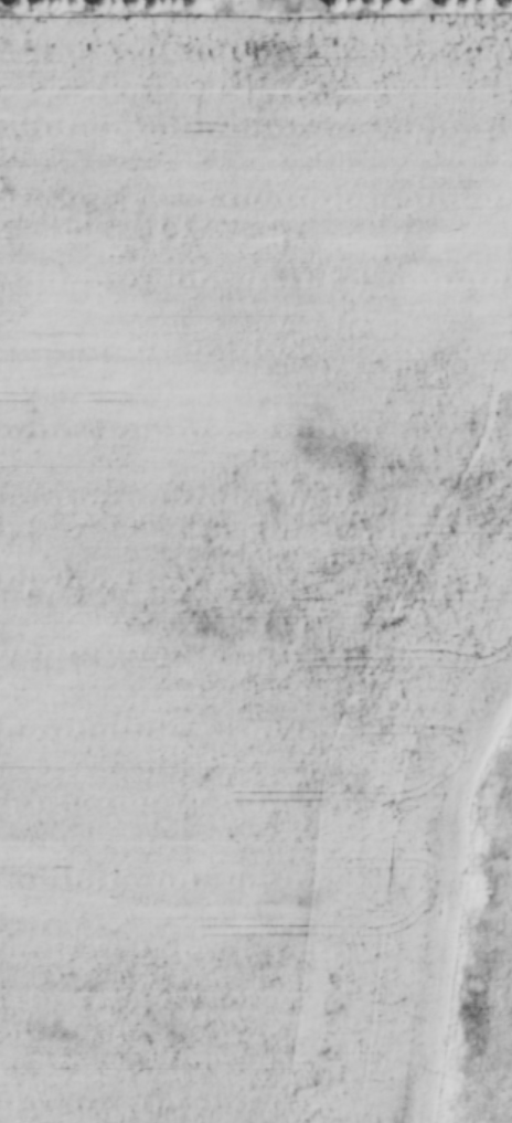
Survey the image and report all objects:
road: (437, 876)

